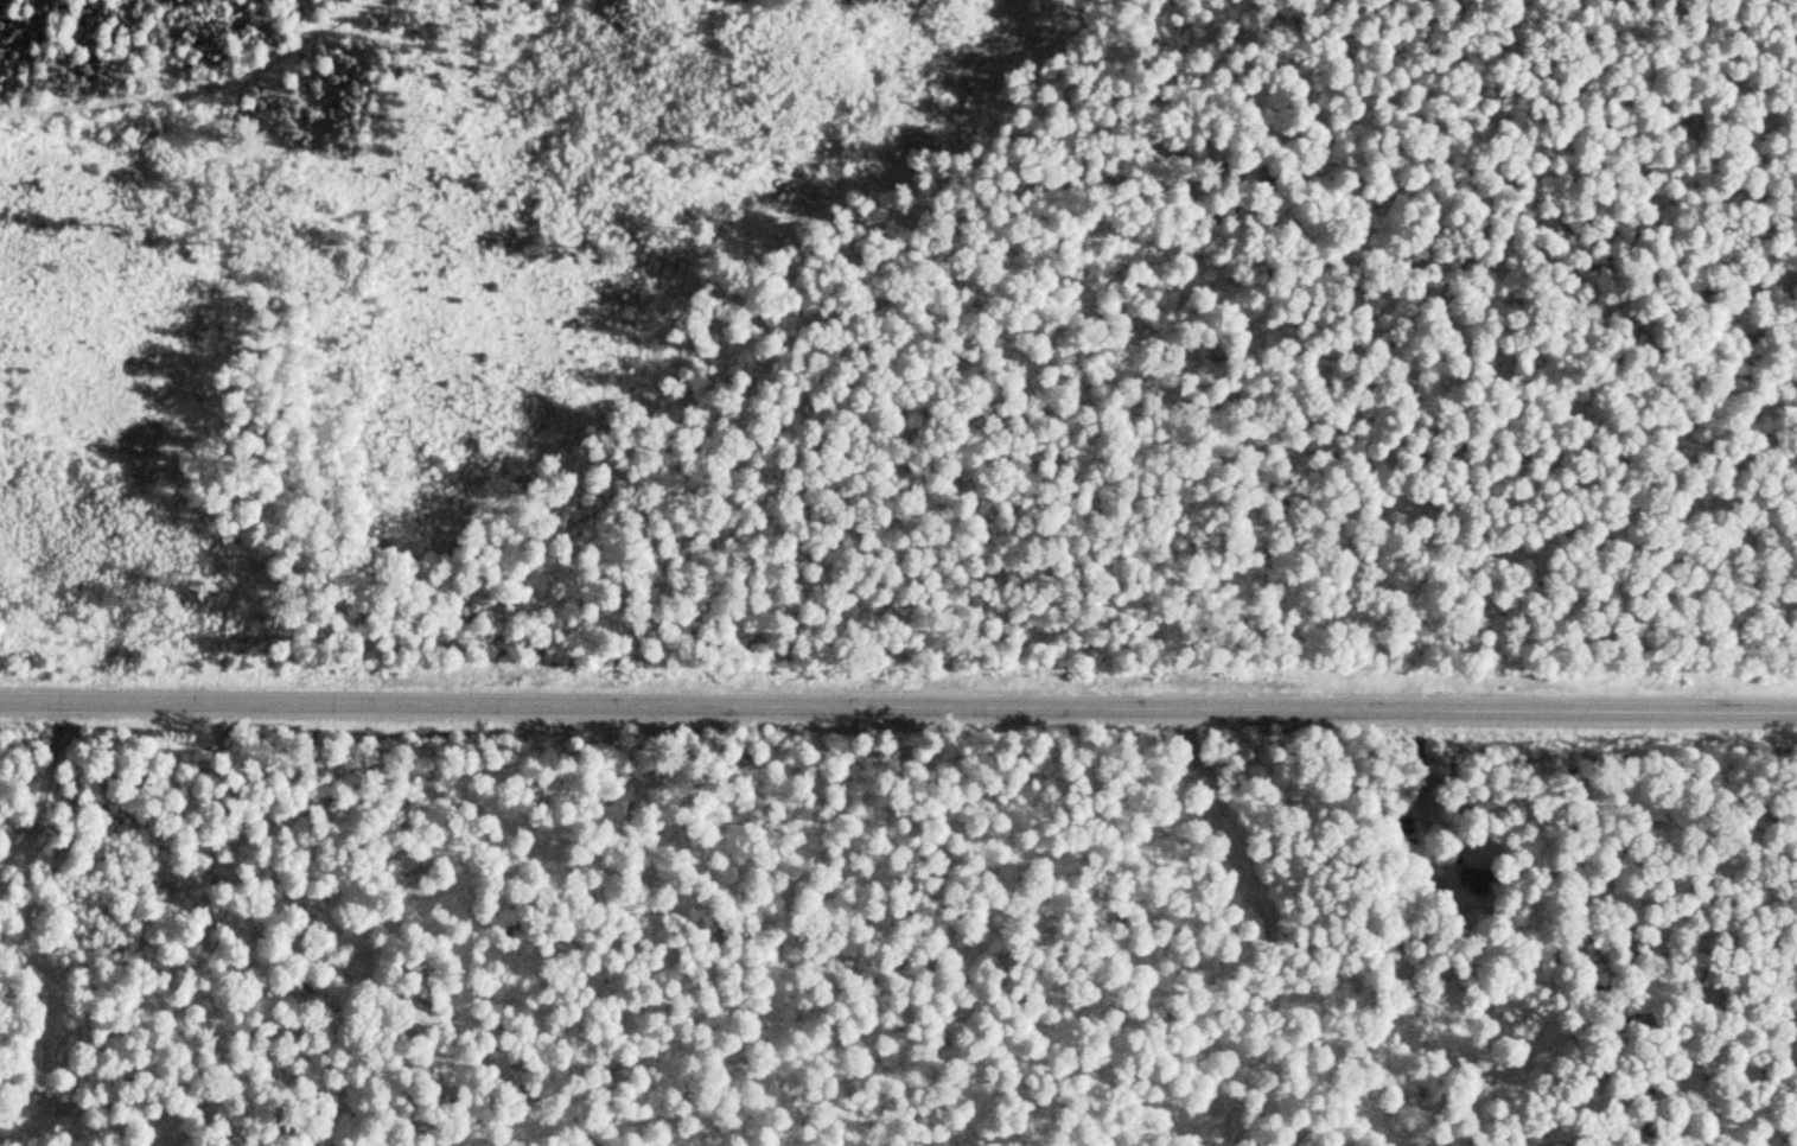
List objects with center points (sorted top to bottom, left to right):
road: (205, 93)
road: (898, 708)
road: (1428, 783)

